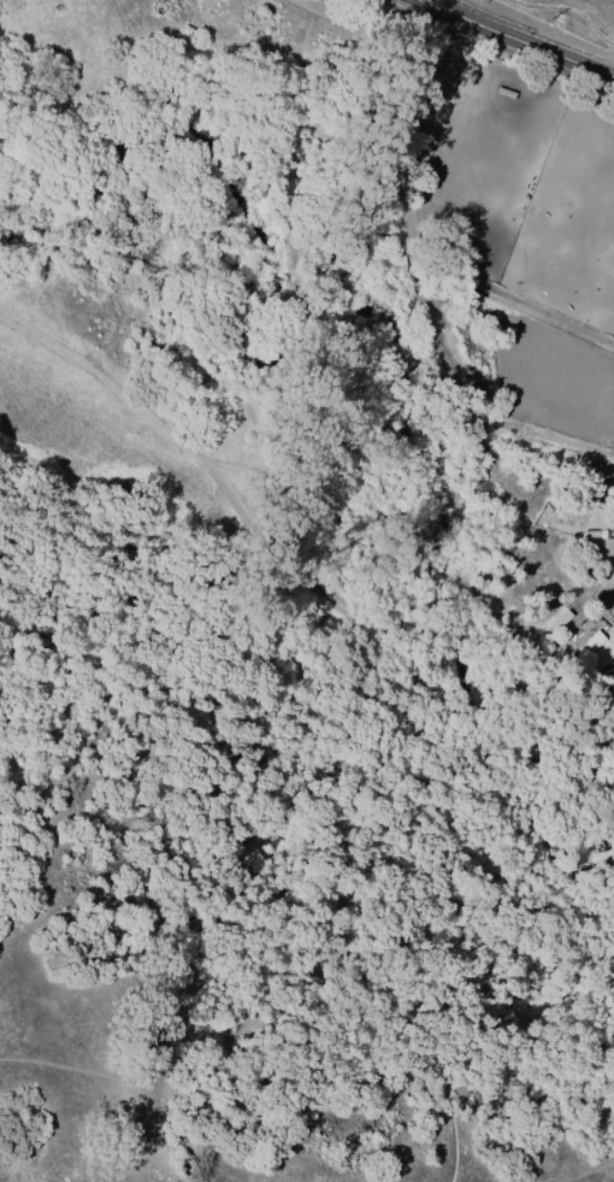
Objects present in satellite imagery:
crop: (385, 25)
road: (519, 37)
road: (41, 335)
river: (379, 337)
road: (175, 430)
road: (158, 551)
building: (601, 553)
park: (249, 651)
building: (595, 651)
road: (432, 729)
road: (199, 755)

